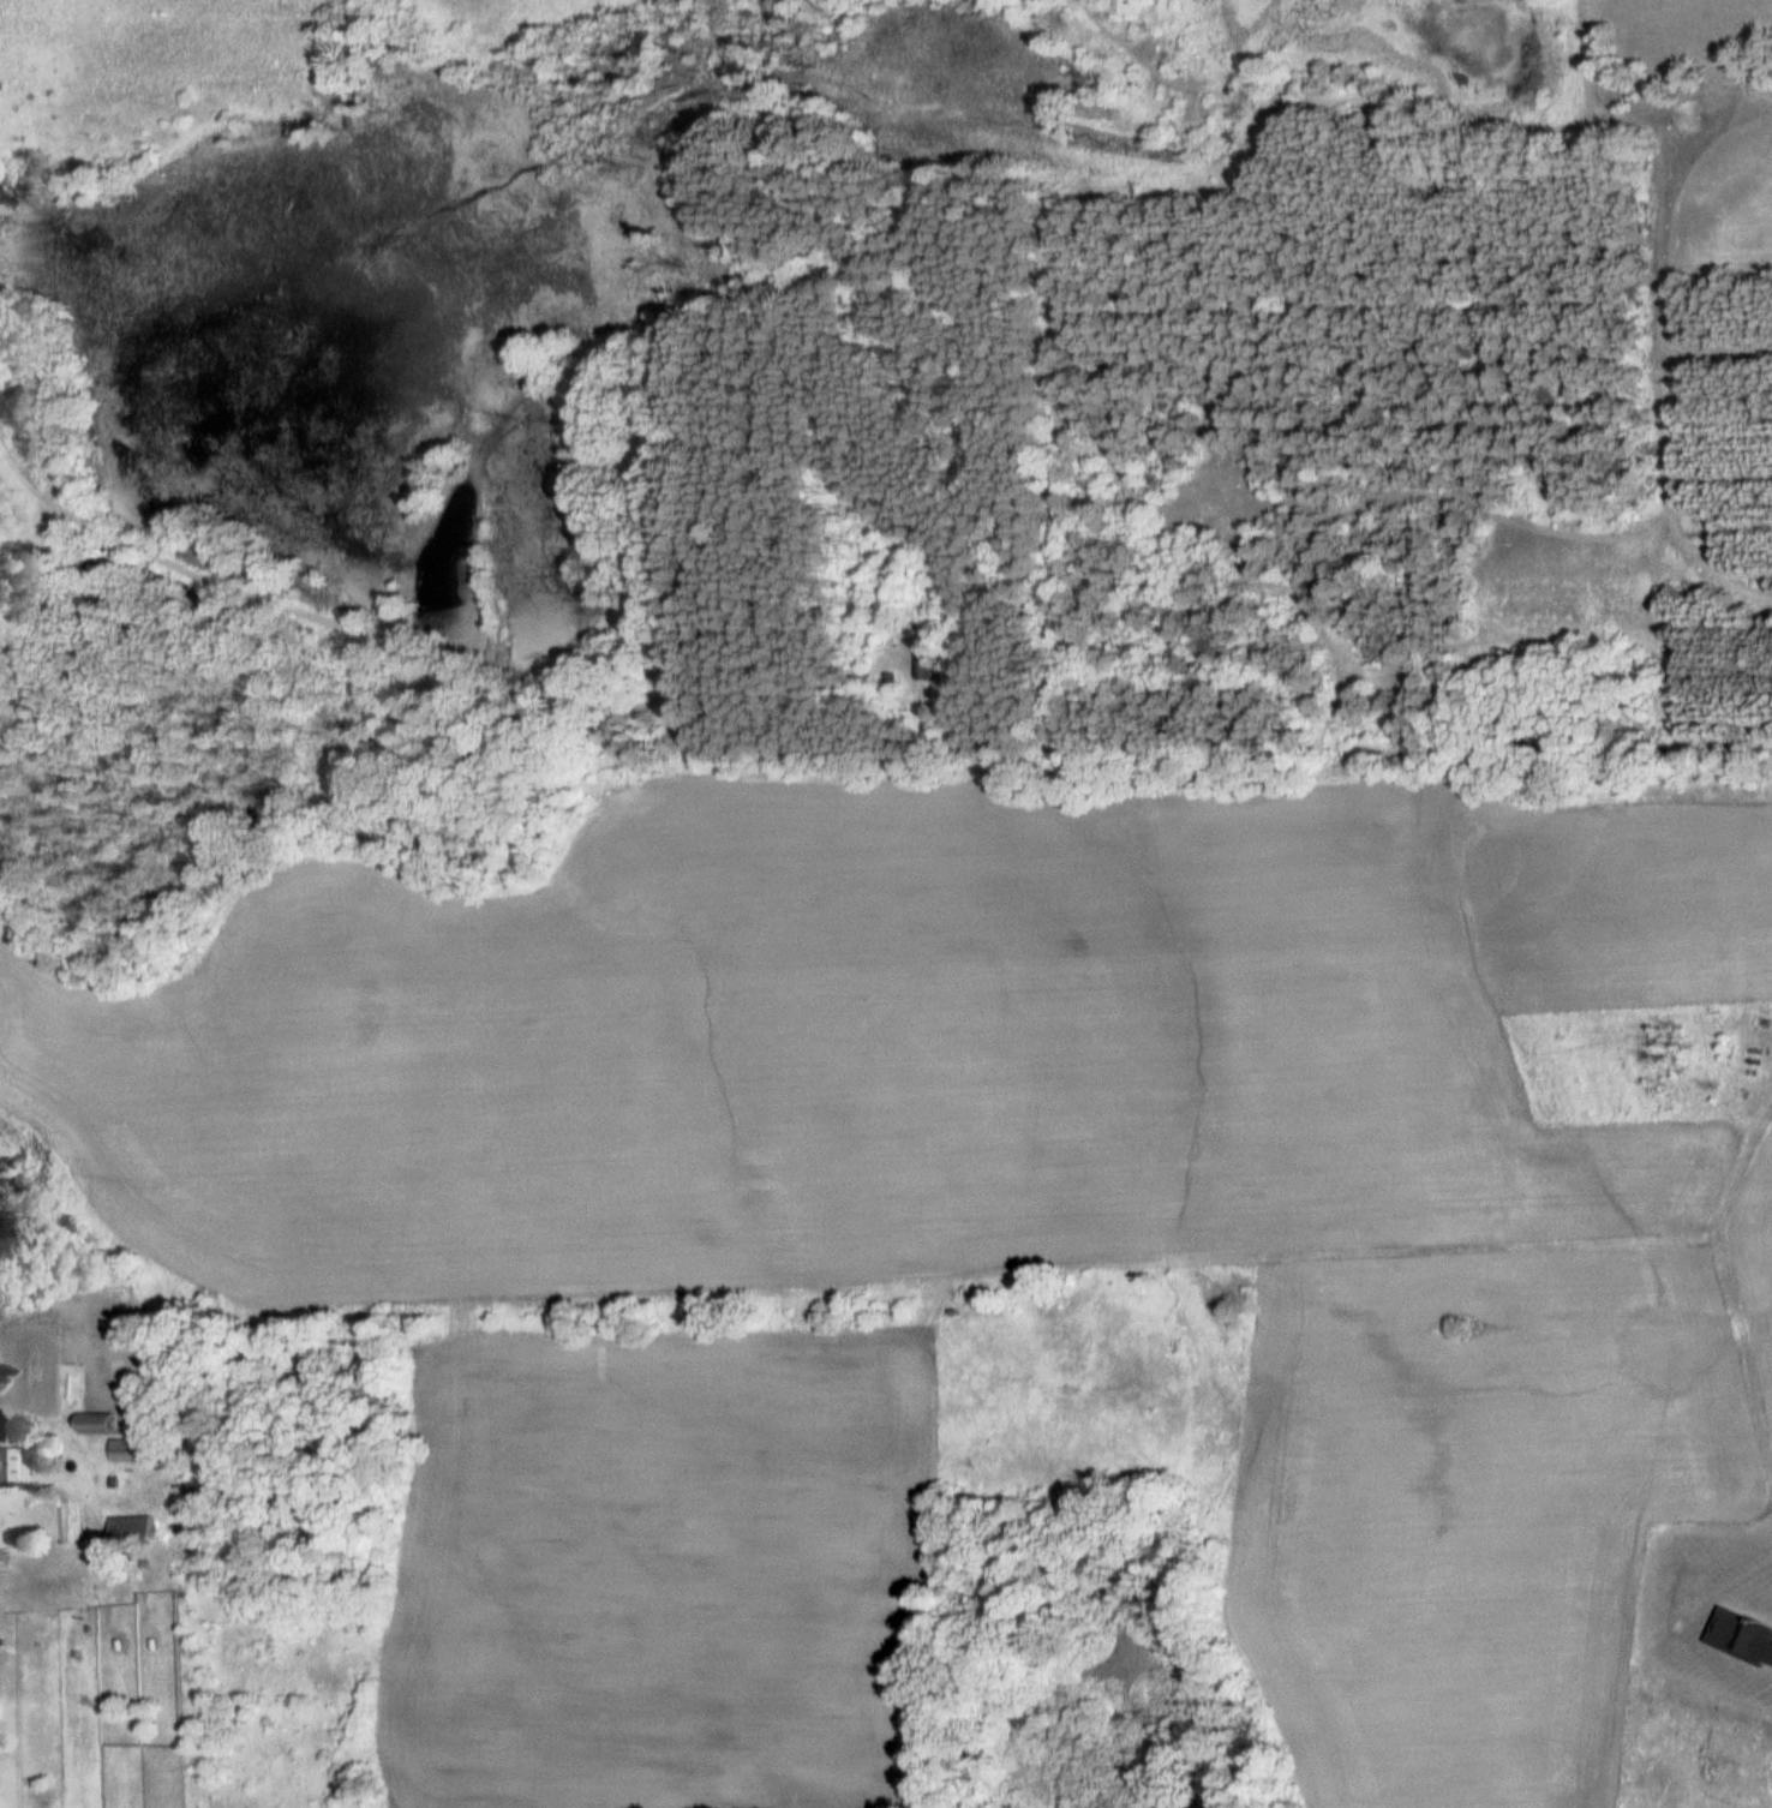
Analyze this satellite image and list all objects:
building: (1126, 7)
building: (926, 661)
building: (136, 1450)
building: (7, 1467)
building: (1717, 1628)
building: (1752, 1645)

